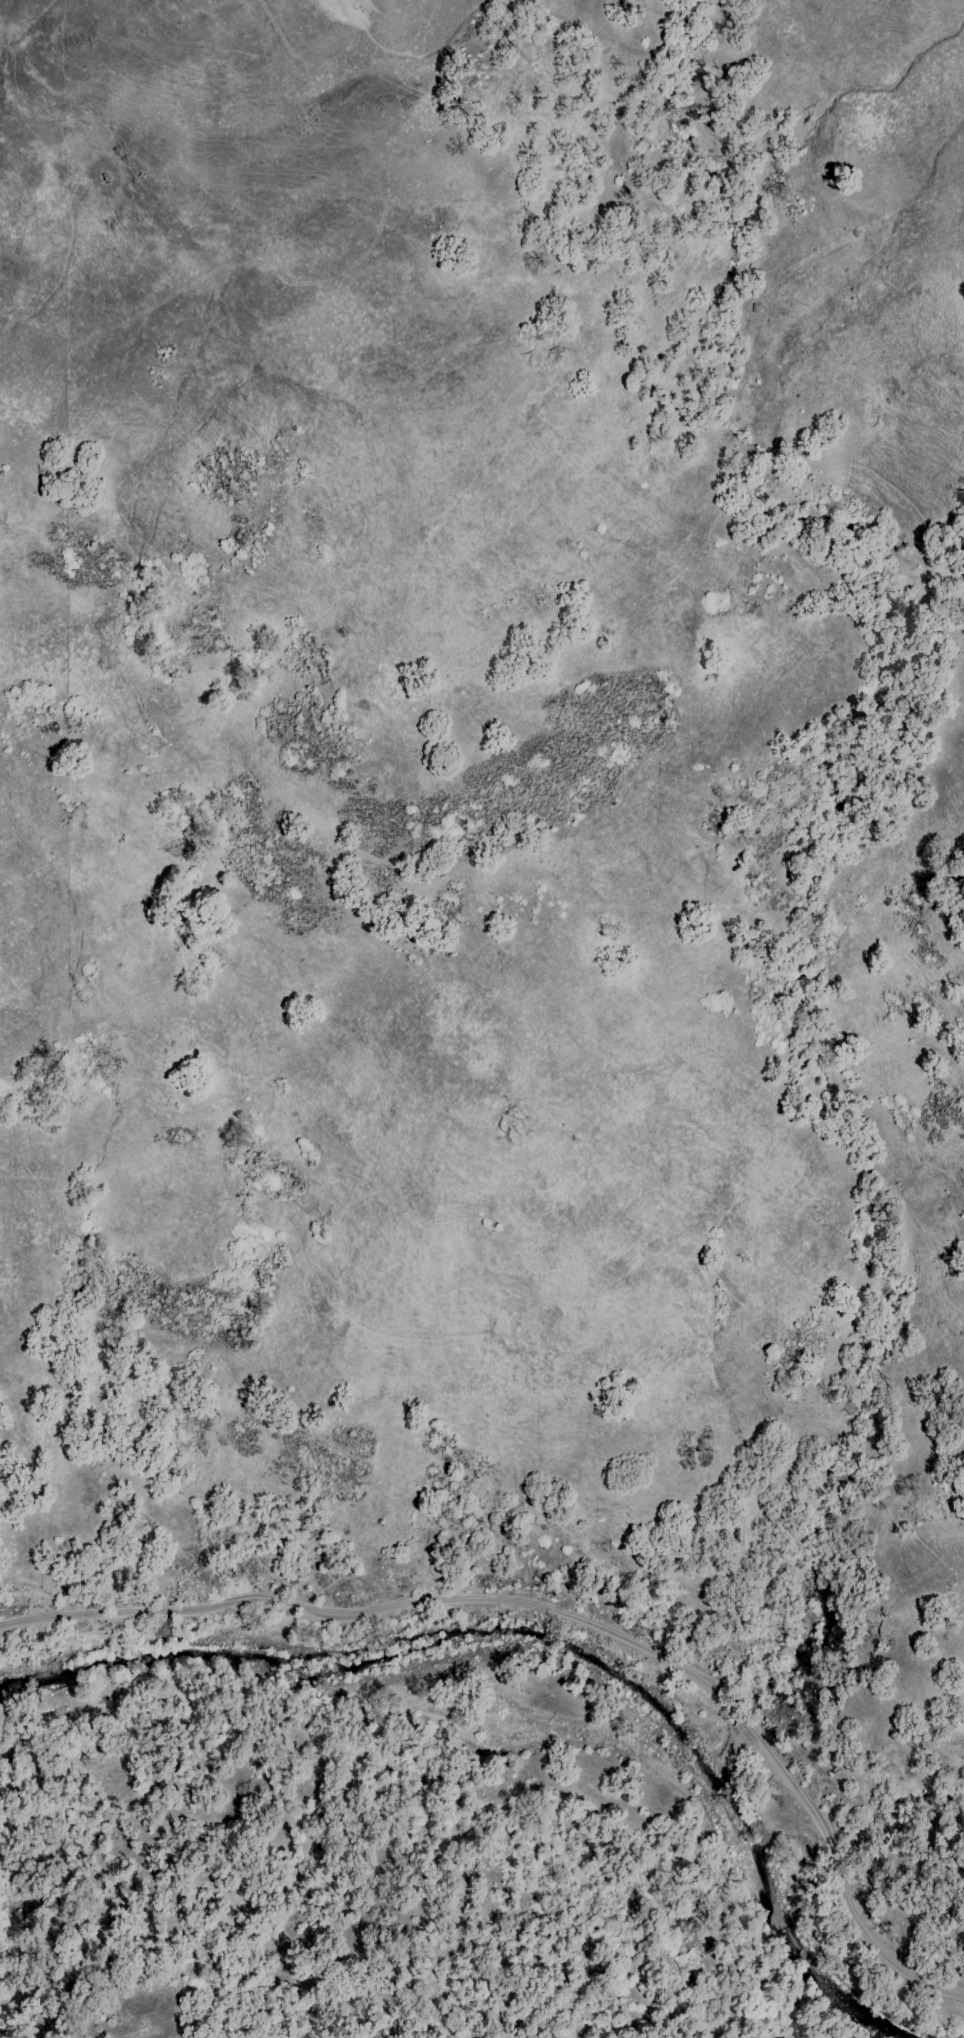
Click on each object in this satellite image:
road: (563, 1619)
river: (357, 1654)
river: (747, 1932)

